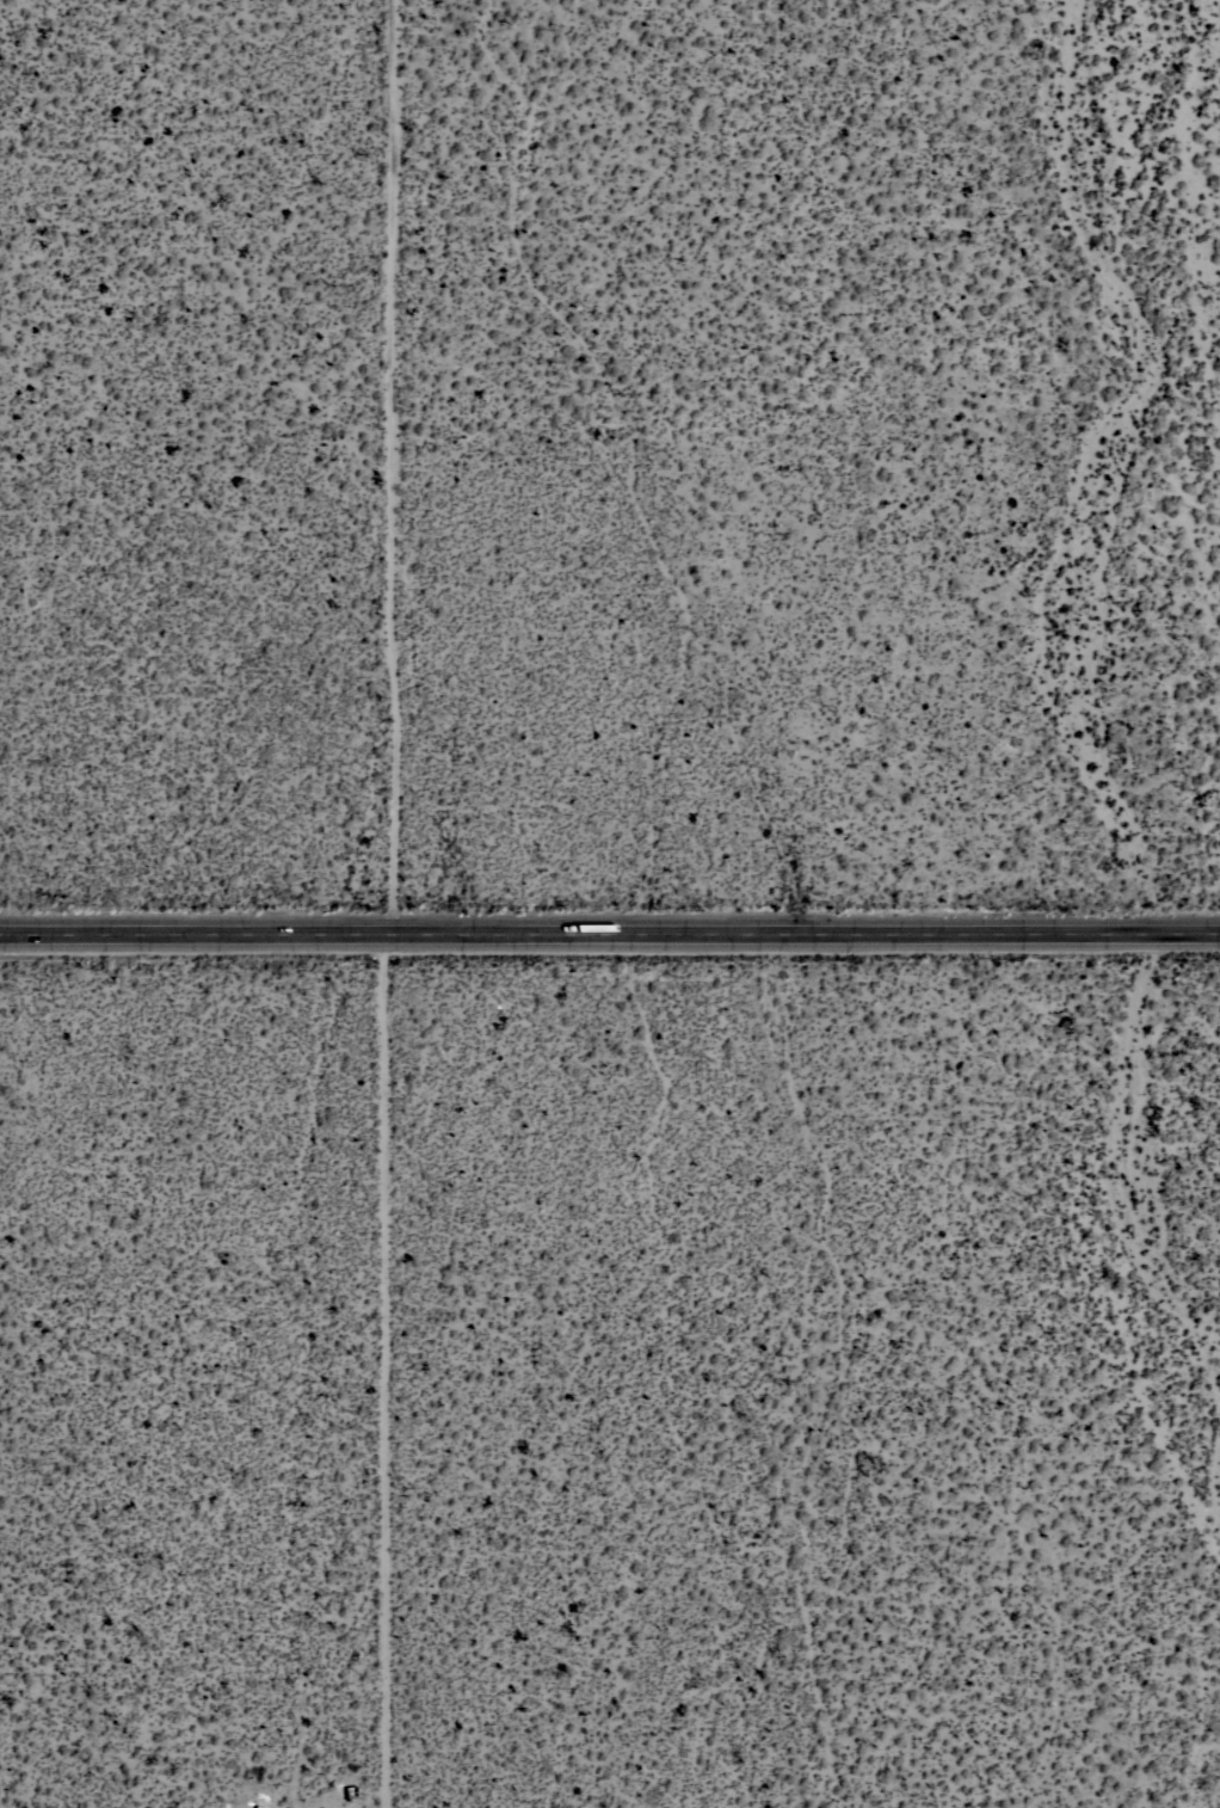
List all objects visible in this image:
road: (406, 467)
road: (609, 935)
road: (371, 1367)

